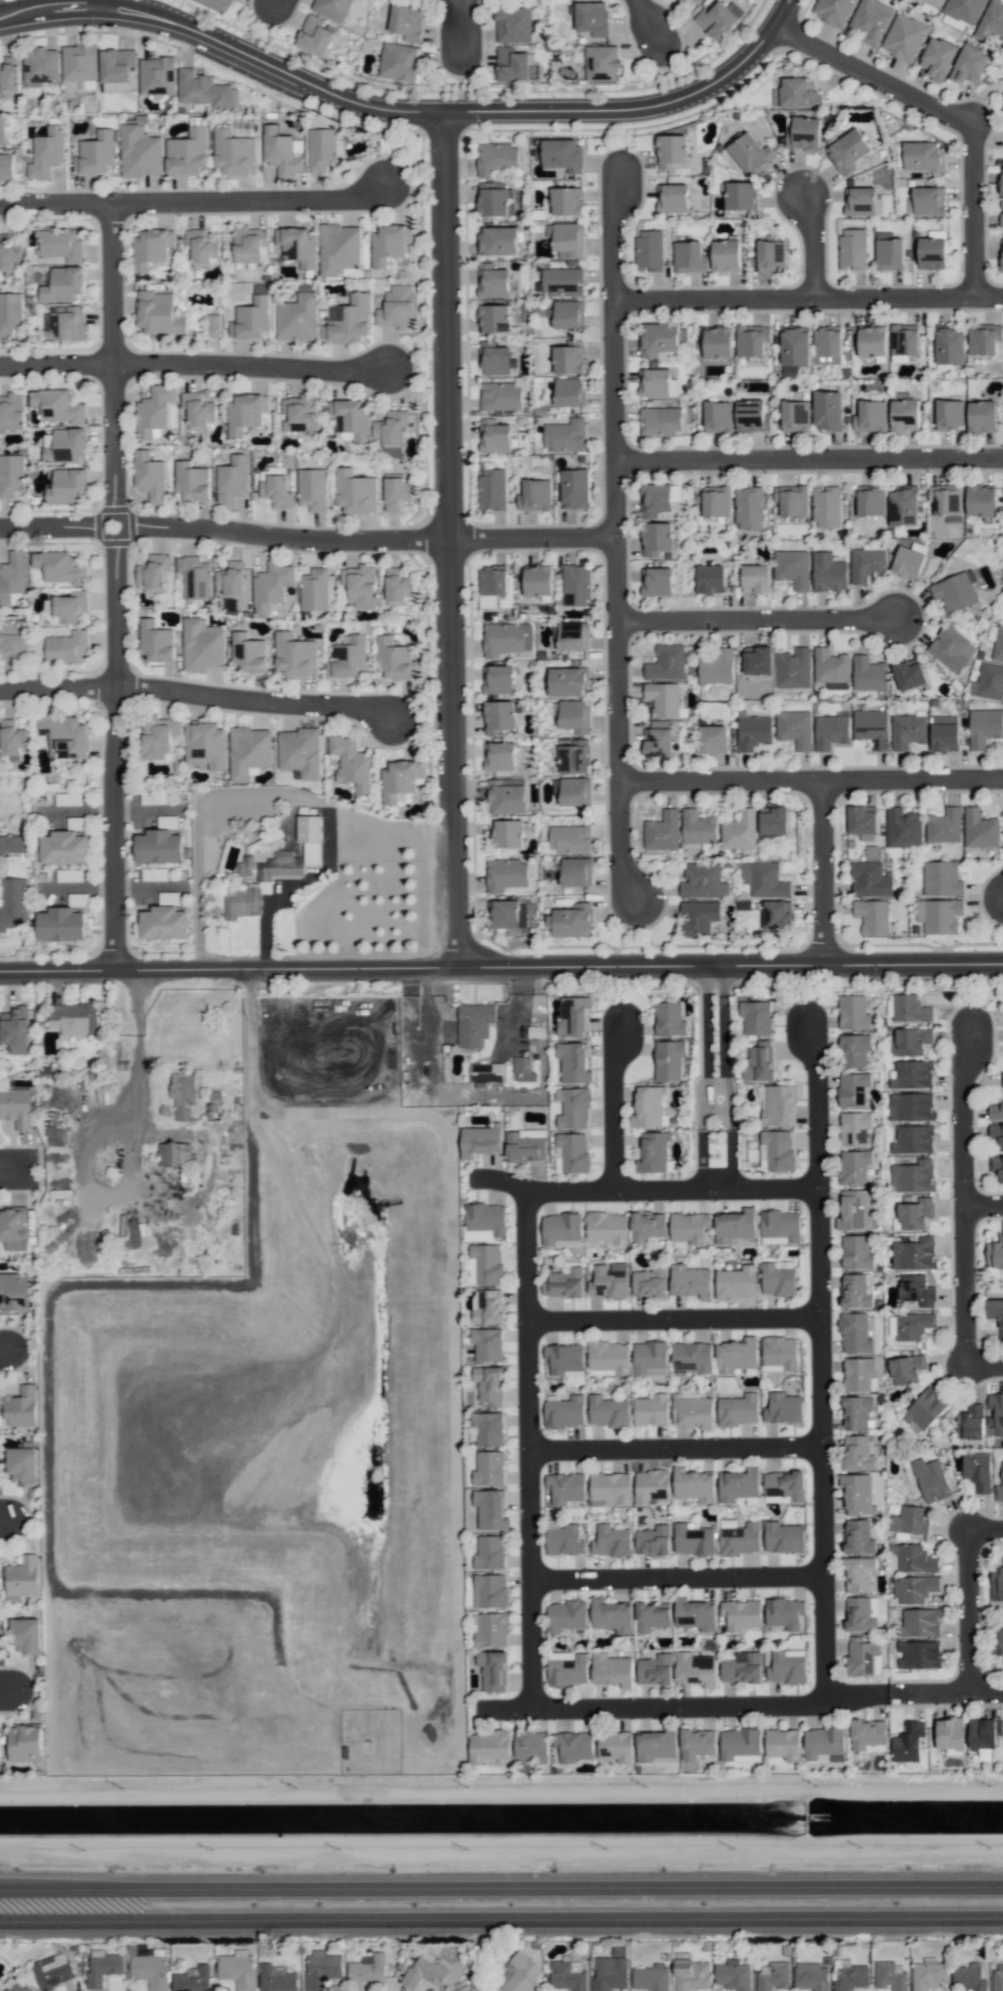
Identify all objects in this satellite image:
building: (694, 0)
road: (99, 3)
building: (933, 3)
building: (218, 4)
road: (273, 6)
building: (332, 8)
building: (964, 9)
building: (834, 11)
building: (592, 18)
building: (718, 19)
building: (871, 20)
building: (991, 21)
building: (407, 22)
building: (953, 22)
building: (513, 24)
road: (652, 27)
road: (459, 35)
building: (314, 36)
building: (904, 37)
road: (224, 46)
building: (938, 58)
building: (79, 62)
building: (398, 62)
building: (601, 63)
building: (969, 64)
building: (116, 65)
building: (511, 65)
building: (40, 66)
building: (10, 75)
building: (157, 75)
building: (202, 89)
building: (796, 93)
road: (636, 109)
road: (949, 115)
building: (2, 130)
building: (804, 133)
building: (320, 148)
building: (671, 151)
building: (848, 151)
building: (140, 152)
building: (234, 152)
building: (282, 152)
building: (47, 153)
building: (187, 153)
building: (751, 153)
building: (563, 155)
building: (923, 155)
road: (443, 158)
building: (496, 158)
building: (6, 166)
building: (1001, 180)
building: (740, 195)
building: (672, 197)
building: (494, 199)
building: (566, 201)
building: (859, 201)
road: (197, 202)
building: (1001, 213)
building: (567, 239)
building: (498, 241)
road: (814, 243)
building: (248, 244)
building: (390, 244)
building: (61, 245)
building: (297, 245)
building: (201, 247)
building: (151, 248)
building: (339, 248)
building: (852, 249)
building: (649, 250)
building: (933, 250)
building: (888, 251)
building: (771, 254)
building: (726, 255)
building: (689, 257)
building: (1002, 258)
building: (492, 281)
building: (562, 281)
building: (63, 284)
road: (807, 300)
building: (397, 308)
building: (10, 313)
building: (159, 314)
building: (568, 314)
building: (253, 317)
building: (297, 318)
building: (493, 318)
building: (348, 320)
building: (232, 324)
building: (213, 325)
building: (983, 338)
building: (658, 339)
building: (751, 340)
building: (904, 340)
building: (717, 342)
building: (827, 345)
building: (795, 346)
building: (949, 346)
building: (570, 358)
building: (494, 359)
road: (196, 366)
building: (657, 383)
building: (569, 392)
building: (500, 396)
building: (57, 405)
building: (154, 410)
building: (198, 410)
building: (827, 410)
building: (12, 411)
building: (299, 412)
building: (246, 413)
building: (904, 413)
building: (950, 414)
building: (718, 416)
building: (752, 416)
building: (795, 416)
building: (870, 416)
building: (982, 416)
building: (351, 418)
building: (660, 421)
building: (391, 431)
building: (565, 435)
building: (494, 436)
building: (64, 445)
road: (808, 461)
building: (11, 474)
building: (150, 476)
building: (231, 480)
building: (192, 481)
building: (66, 486)
building: (575, 488)
building: (275, 489)
building: (311, 489)
building: (491, 489)
building: (355, 492)
building: (396, 493)
building: (535, 495)
building: (658, 498)
building: (945, 499)
building: (791, 500)
building: (716, 501)
building: (871, 501)
building: (980, 501)
building: (903, 506)
building: (748, 507)
building: (826, 507)
building: (656, 538)
road: (307, 542)
road: (615, 542)
building: (908, 562)
building: (866, 564)
building: (60, 567)
building: (792, 568)
building: (154, 572)
building: (828, 572)
building: (13, 576)
building: (195, 577)
building: (755, 578)
building: (231, 579)
building: (710, 579)
building: (492, 581)
building: (538, 581)
building: (656, 581)
building: (576, 584)
building: (359, 585)
road: (449, 585)
building: (271, 586)
building: (397, 586)
road: (115, 588)
building: (314, 590)
building: (956, 591)
building: (488, 601)
building: (70, 606)
road: (757, 619)
building: (573, 636)
building: (504, 638)
building: (156, 641)
building: (12, 642)
building: (998, 644)
building: (203, 645)
building: (66, 647)
building: (951, 648)
building: (248, 653)
building: (295, 656)
building: (347, 657)
building: (395, 659)
building: (757, 660)
building: (666, 663)
building: (830, 666)
building: (717, 667)
building: (793, 668)
building: (869, 673)
building: (908, 673)
building: (498, 679)
building: (568, 681)
building: (988, 681)
road: (196, 697)
building: (663, 699)
building: (575, 716)
building: (499, 717)
building: (984, 727)
building: (794, 728)
building: (872, 728)
building: (830, 731)
building: (907, 731)
building: (753, 732)
building: (944, 733)
building: (65, 734)
building: (12, 737)
building: (158, 737)
building: (657, 739)
building: (712, 739)
building: (205, 745)
building: (249, 751)
building: (300, 752)
building: (499, 756)
building: (575, 757)
building: (352, 764)
building: (400, 781)
road: (810, 783)
building: (575, 791)
building: (507, 796)
building: (773, 820)
building: (862, 821)
building: (944, 825)
building: (698, 827)
building: (903, 827)
building: (980, 829)
building: (739, 830)
building: (662, 831)
building: (508, 834)
building: (310, 837)
building: (569, 839)
building: (266, 842)
building: (13, 843)
building: (159, 847)
building: (64, 848)
building: (280, 866)
building: (244, 867)
building: (576, 871)
building: (506, 874)
road: (822, 874)
building: (941, 878)
building: (764, 879)
building: (870, 879)
building: (703, 881)
building: (262, 886)
building: (241, 902)
building: (13, 903)
building: (506, 914)
building: (777, 914)
building: (939, 915)
building: (872, 916)
building: (698, 917)
building: (571, 921)
building: (164, 923)
building: (61, 924)
road: (501, 969)
building: (909, 1008)
building: (853, 1012)
building: (573, 1016)
building: (756, 1017)
building: (73, 1018)
building: (669, 1019)
building: (474, 1023)
building: (14, 1029)
building: (910, 1041)
building: (854, 1050)
building: (668, 1059)
building: (573, 1062)
building: (759, 1062)
road: (137, 1068)
building: (522, 1069)
building: (486, 1072)
building: (910, 1074)
road: (706, 1077)
road: (723, 1077)
building: (1002, 1078)
road: (715, 1086)
building: (853, 1089)
building: (182, 1093)
road: (810, 1103)
road: (605, 1105)
building: (779, 1106)
building: (911, 1106)
building: (16, 1107)
building: (648, 1107)
building: (574, 1108)
road: (716, 1111)
building: (996, 1111)
road: (954, 1116)
building: (855, 1128)
building: (996, 1134)
building: (913, 1139)
building: (480, 1141)
building: (525, 1145)
building: (776, 1150)
building: (653, 1152)
building: (571, 1153)
building: (173, 1154)
building: (997, 1166)
building: (854, 1167)
road: (14, 1172)
building: (913, 1176)
road: (642, 1189)
road: (979, 1206)
building: (854, 1209)
building: (916, 1213)
building: (484, 1221)
building: (647, 1226)
building: (735, 1226)
building: (607, 1227)
building: (689, 1227)
building: (780, 1227)
building: (12, 1229)
building: (561, 1230)
building: (857, 1252)
building: (914, 1253)
building: (995, 1253)
building: (486, 1264)
building: (778, 1278)
building: (608, 1281)
building: (691, 1281)
building: (650, 1282)
building: (737, 1282)
building: (564, 1283)
road: (957, 1287)
building: (917, 1290)
building: (855, 1291)
building: (14, 1292)
building: (489, 1307)
building: (995, 1312)
road: (666, 1318)
building: (913, 1326)
building: (854, 1333)
building: (487, 1344)
building: (779, 1353)
building: (736, 1355)
road: (4, 1356)
building: (609, 1356)
building: (564, 1357)
building: (692, 1357)
building: (650, 1358)
road: (980, 1366)
building: (906, 1369)
building: (858, 1373)
building: (489, 1384)
building: (22, 1407)
building: (783, 1408)
building: (925, 1408)
building: (651, 1410)
building: (692, 1410)
building: (738, 1410)
building: (608, 1411)
building: (996, 1411)
building: (565, 1412)
building: (856, 1412)
building: (970, 1425)
building: (488, 1428)
road: (520, 1444)
road: (667, 1445)
road: (813, 1445)
building: (857, 1453)
building: (24, 1462)
building: (489, 1468)
building: (977, 1470)
building: (931, 1480)
building: (738, 1484)
building: (785, 1484)
building: (651, 1485)
building: (694, 1485)
building: (565, 1487)
building: (1000, 1488)
building: (610, 1489)
building: (857, 1493)
building: (776, 1499)
building: (490, 1509)
building: (909, 1520)
road: (4, 1525)
road: (980, 1529)
building: (783, 1537)
building: (858, 1537)
building: (693, 1539)
building: (740, 1539)
building: (565, 1540)
building: (611, 1541)
building: (653, 1541)
building: (489, 1552)
building: (914, 1558)
building: (859, 1573)
road: (667, 1574)
building: (23, 1577)
building: (997, 1583)
building: (914, 1588)
building: (492, 1590)
road: (960, 1612)
building: (785, 1613)
building: (695, 1614)
building: (741, 1614)
building: (565, 1615)
building: (612, 1615)
building: (860, 1615)
building: (652, 1616)
building: (920, 1622)
building: (490, 1629)
building: (26, 1635)
building: (998, 1644)
building: (918, 1654)
building: (863, 1657)
building: (786, 1666)
building: (742, 1667)
building: (567, 1668)
building: (695, 1669)
building: (493, 1670)
building: (612, 1670)
building: (655, 1670)
road: (6, 1697)
road: (738, 1705)
building: (950, 1733)
building: (868, 1735)
building: (983, 1736)
building: (908, 1742)
building: (25, 1743)
building: (697, 1743)
building: (782, 1744)
building: (824, 1744)
building: (531, 1745)
building: (615, 1745)
building: (655, 1745)
building: (740, 1745)
building: (488, 1746)
building: (573, 1746)
road: (501, 1886)
road: (501, 1910)
building: (103, 1966)
building: (367, 1968)
building: (149, 1969)
building: (237, 1969)
building: (321, 1969)
building: (52, 1970)
building: (424, 1970)
building: (520, 1973)
building: (609, 1973)
building: (691, 1974)
building: (928, 1974)
building: (567, 1975)
building: (733, 1975)
building: (772, 1975)
building: (890, 1975)
building: (811, 1976)
building: (651, 1977)
building: (851, 1977)
building: (969, 1977)
building: (998, 1977)
building: (276, 1978)
building: (192, 1979)
building: (17, 1986)

